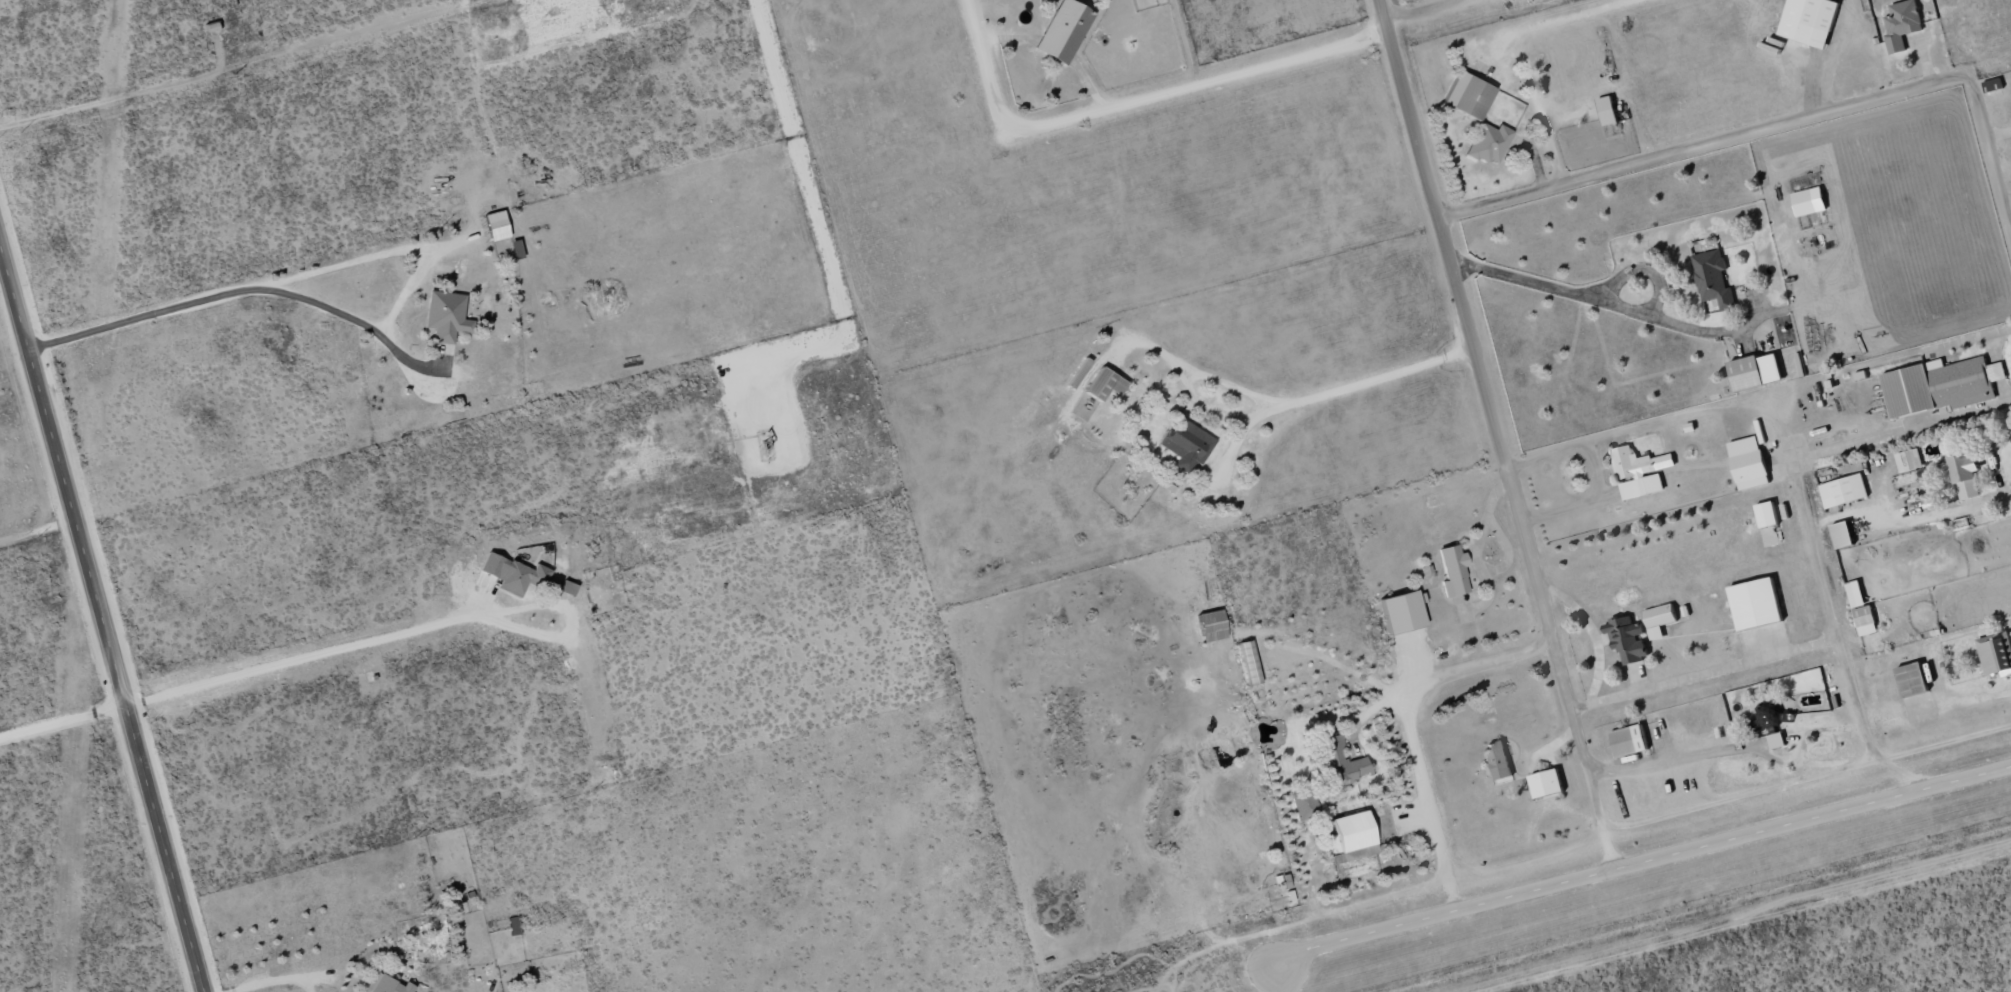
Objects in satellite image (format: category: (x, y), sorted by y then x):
road: (1416, 12)
building: (1809, 21)
building: (1902, 24)
building: (1063, 31)
building: (1993, 84)
building: (1468, 96)
road: (1130, 104)
building: (1607, 111)
road: (1776, 126)
building: (1489, 143)
building: (1809, 201)
building: (496, 226)
building: (516, 250)
building: (1713, 278)
road: (1597, 299)
building: (446, 316)
building: (1078, 373)
building: (1747, 373)
building: (1105, 384)
building: (1941, 385)
road: (1270, 411)
road: (1495, 434)
building: (1187, 445)
building: (1909, 460)
building: (1749, 462)
building: (1640, 471)
building: (1964, 472)
road: (1797, 481)
building: (1843, 490)
building: (1767, 514)
building: (1842, 534)
building: (1453, 571)
building: (513, 574)
building: (484, 581)
building: (567, 588)
building: (1855, 593)
building: (1756, 603)
building: (1402, 612)
building: (1660, 616)
building: (1865, 620)
road: (102, 622)
road: (412, 625)
building: (1211, 626)
building: (1626, 639)
building: (1996, 653)
building: (1249, 663)
road: (1705, 673)
building: (1912, 679)
road: (61, 706)
road: (1408, 726)
building: (1777, 740)
building: (1629, 741)
road: (1735, 749)
building: (1499, 760)
building: (1340, 762)
road: (1836, 764)
building: (1547, 783)
building: (1304, 804)
building: (1349, 839)
road: (1642, 861)
building: (513, 926)
building: (386, 985)
building: (524, 991)

